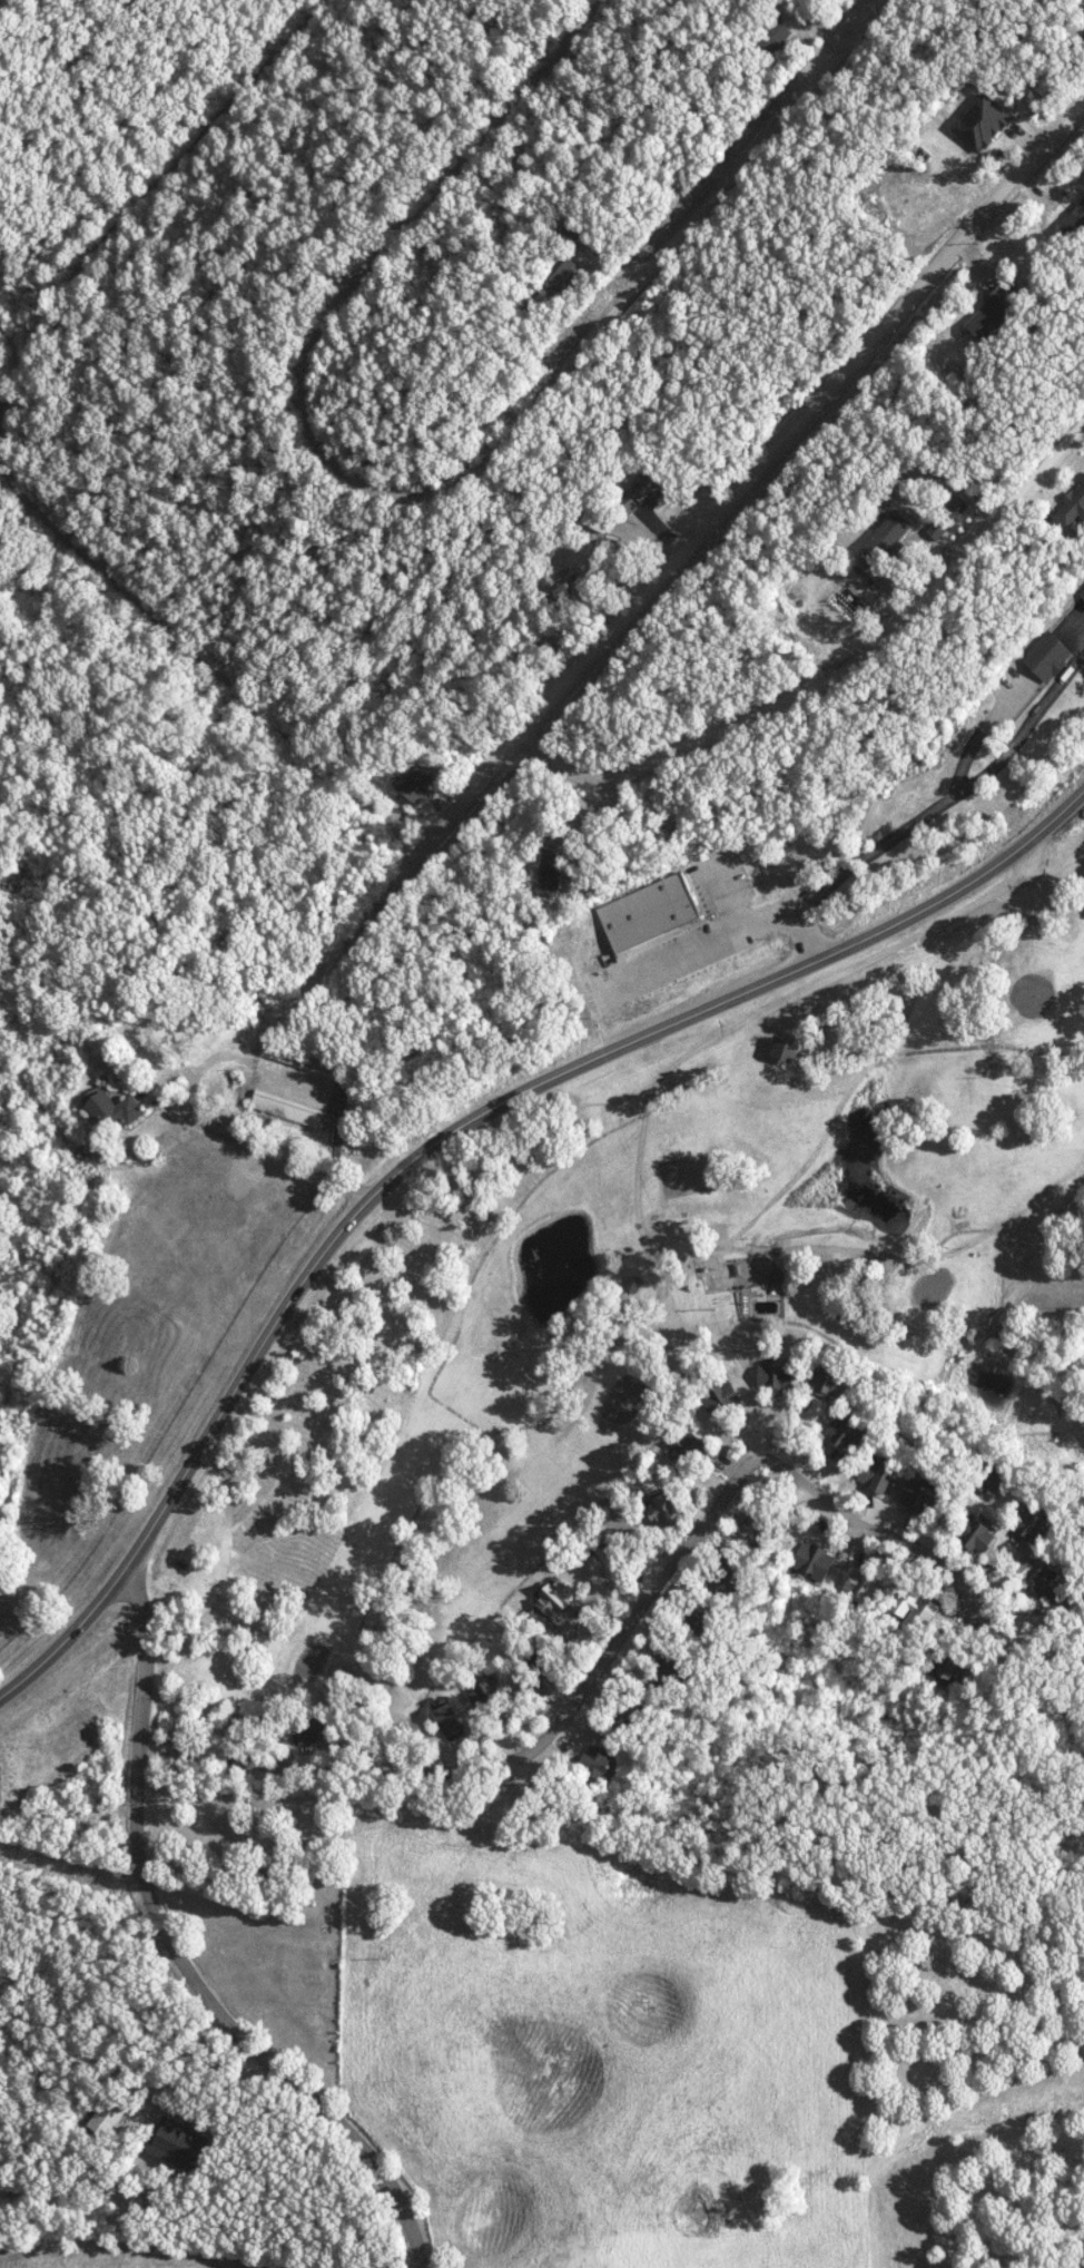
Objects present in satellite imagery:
building: (779, 37)
building: (985, 121)
road: (144, 196)
building: (1075, 222)
building: (566, 275)
building: (995, 314)
road: (13, 335)
building: (651, 485)
road: (428, 497)
building: (1073, 507)
building: (957, 508)
building: (937, 529)
building: (889, 534)
building: (1082, 592)
building: (1051, 656)
road: (839, 674)
road: (551, 701)
building: (418, 783)
building: (553, 872)
building: (650, 913)
building: (788, 1050)
building: (300, 1057)
building: (286, 1108)
building: (116, 1109)
road: (447, 1130)
road: (211, 1140)
building: (778, 1375)
building: (831, 1378)
building: (726, 1396)
building: (848, 1431)
building: (686, 1446)
building: (878, 1474)
building: (922, 1495)
building: (671, 1506)
building: (760, 1524)
building: (1034, 1524)
building: (984, 1539)
building: (611, 1560)
building: (815, 1560)
building: (1052, 1581)
building: (864, 1585)
building: (554, 1597)
building: (922, 1612)
road: (607, 1649)
building: (960, 1669)
building: (489, 1692)
building: (451, 1720)
building: (218, 1755)
building: (598, 1759)
road: (174, 1953)
building: (106, 2118)
building: (181, 2144)

